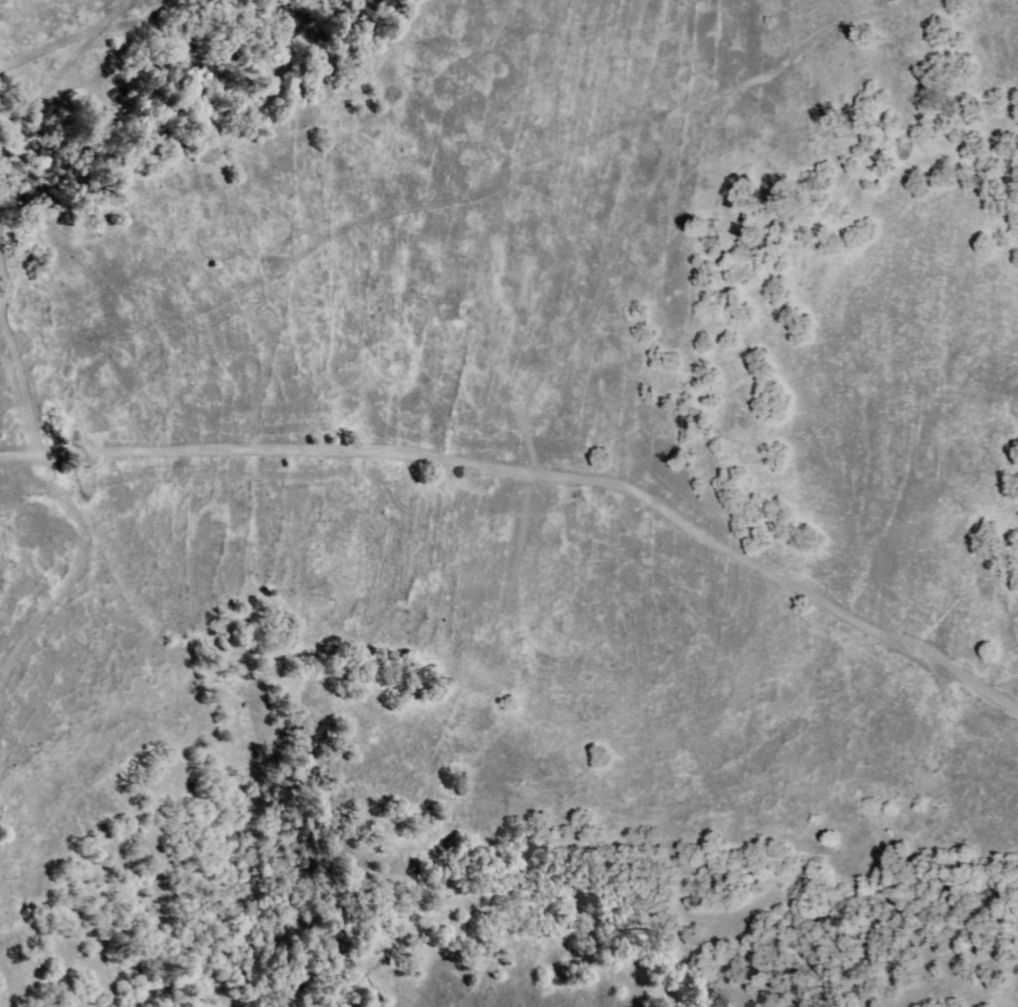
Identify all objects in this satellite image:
road: (535, 474)

